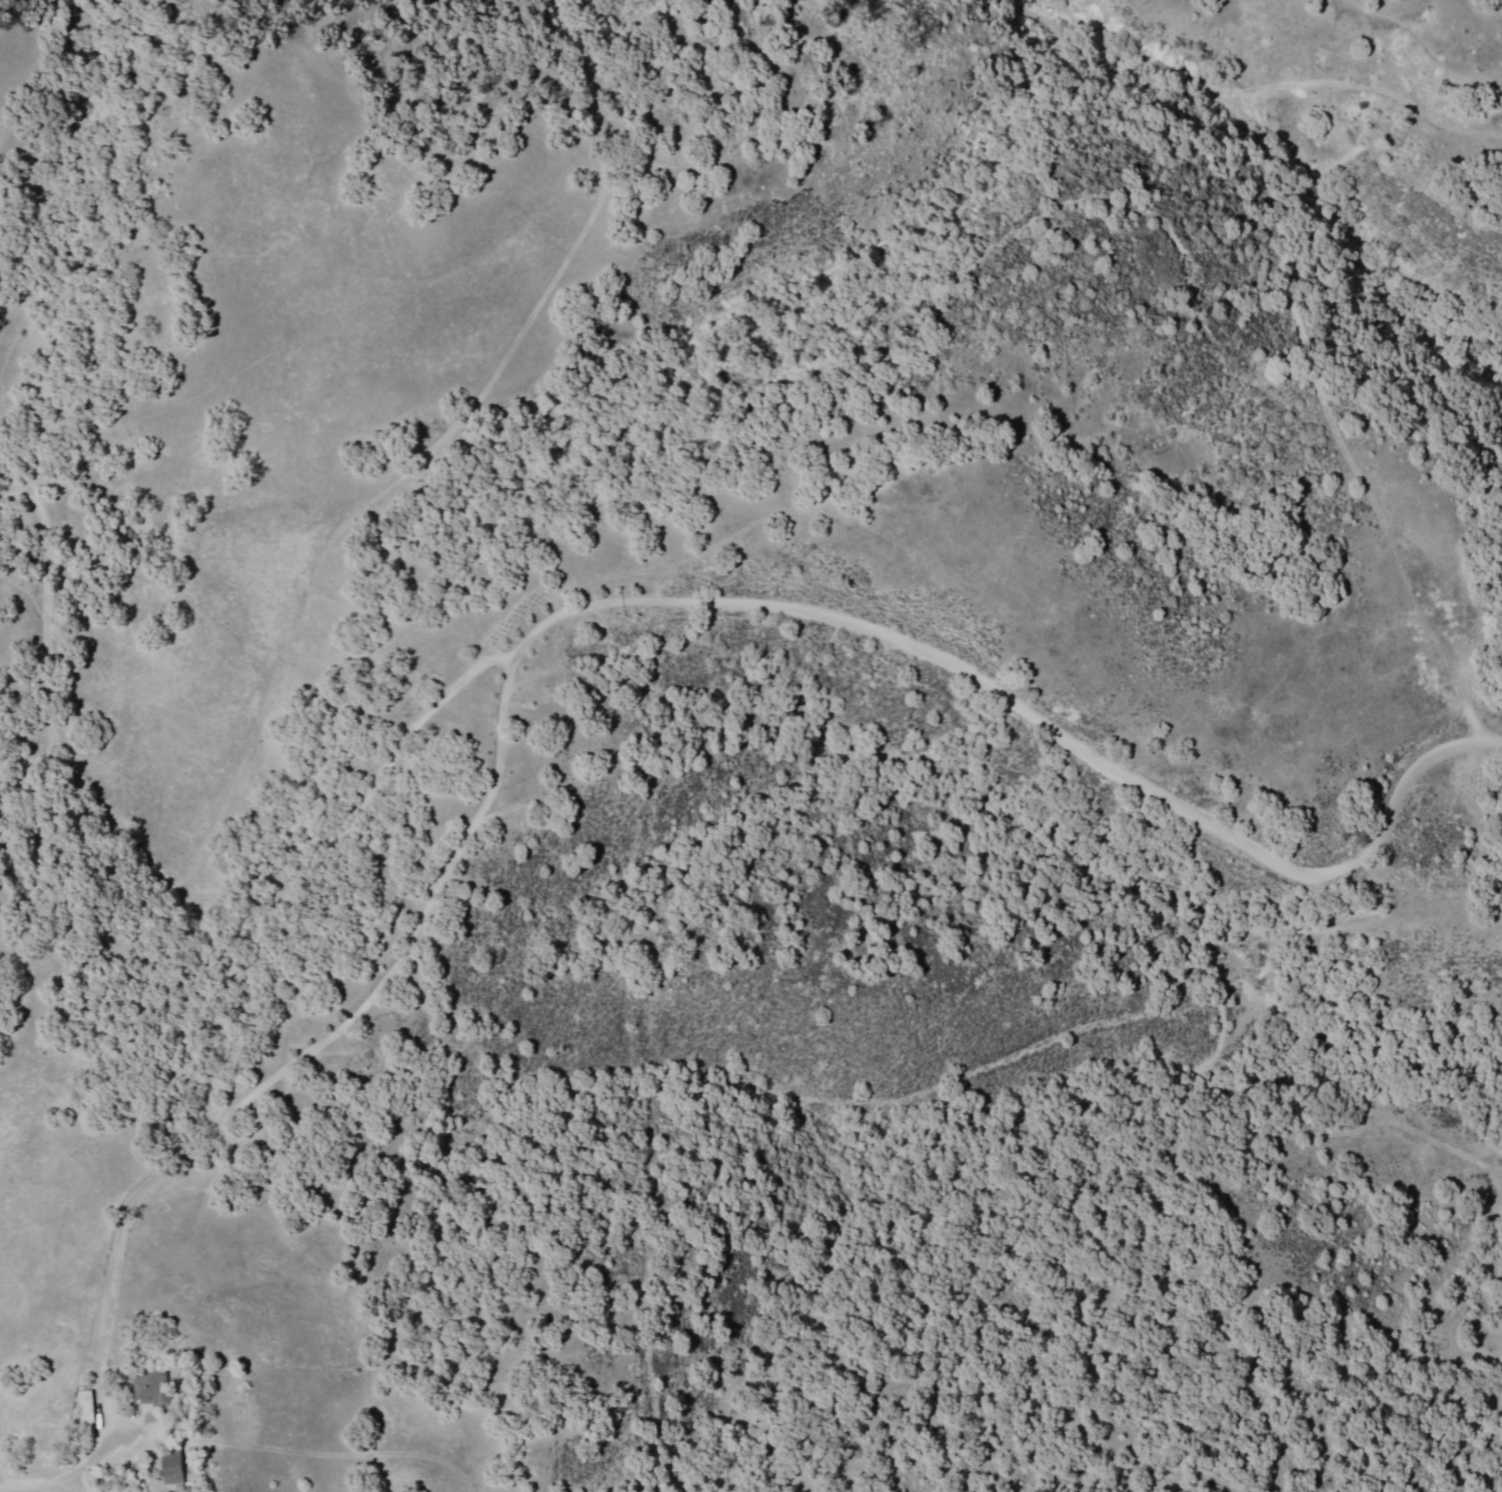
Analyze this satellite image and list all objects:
road: (613, 603)
road: (1213, 1041)
building: (151, 1387)
building: (173, 1465)

